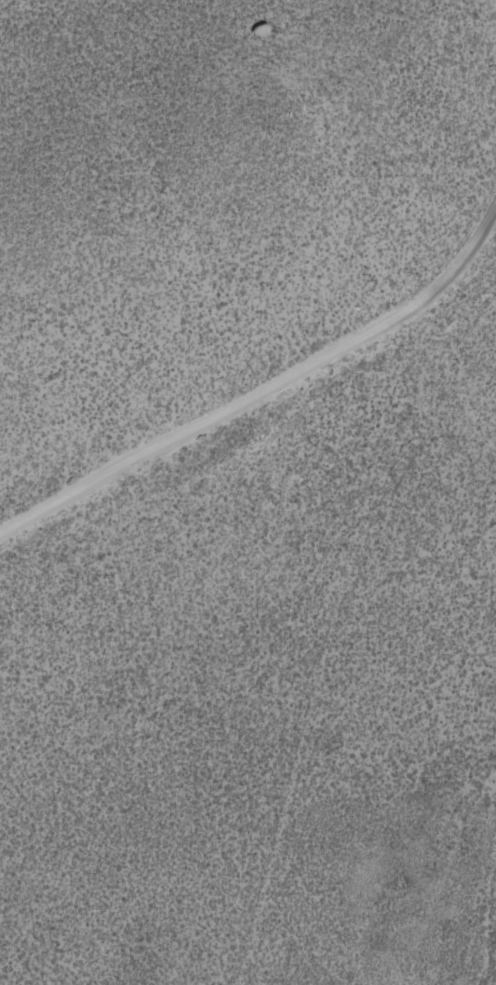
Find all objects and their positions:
road: (264, 393)

